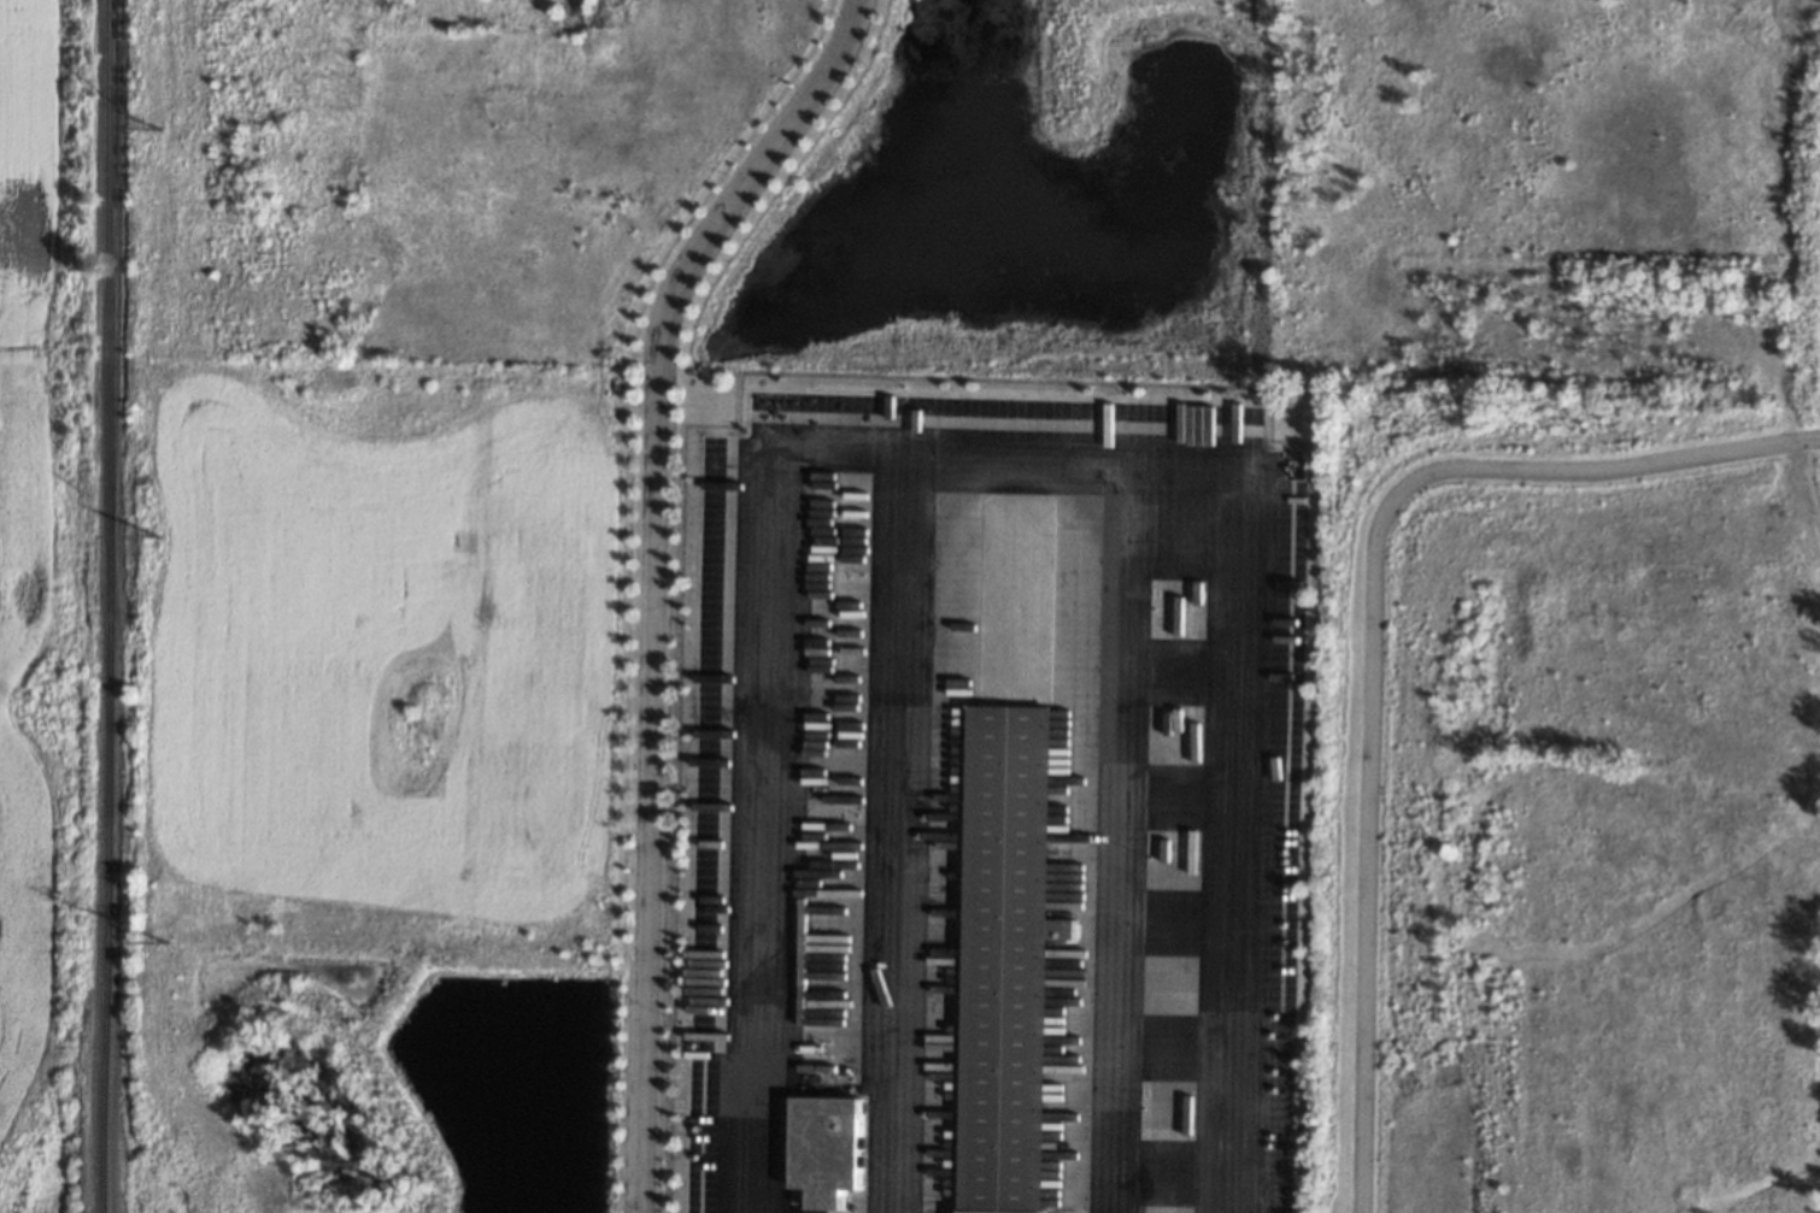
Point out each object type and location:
power tower: (157, 126)
road: (996, 453)
power tower: (155, 534)
road: (652, 577)
railway: (106, 606)
road: (1372, 634)
power tower: (37, 706)
road: (902, 832)
road: (1125, 835)
power tower: (165, 940)
building: (1011, 959)
building: (833, 1149)

